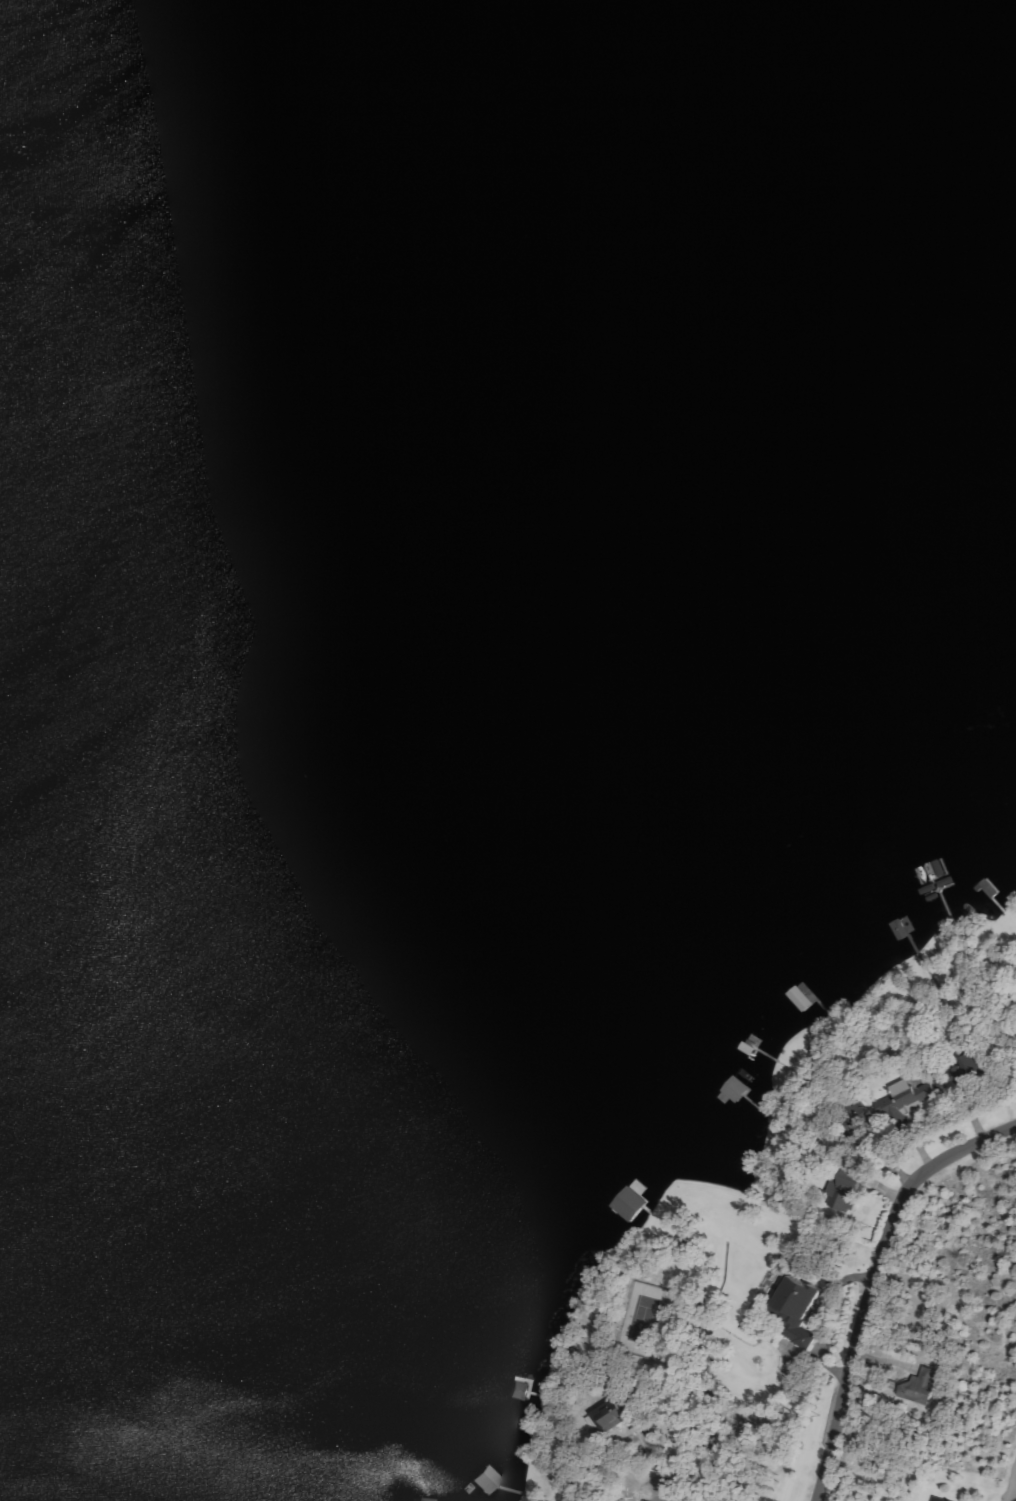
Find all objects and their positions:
building: (912, 1097)
building: (845, 1191)
road: (875, 1282)
building: (801, 1308)
building: (924, 1386)
building: (617, 1415)
road: (1012, 1486)
road: (655, 1498)
building: (943, 1499)

